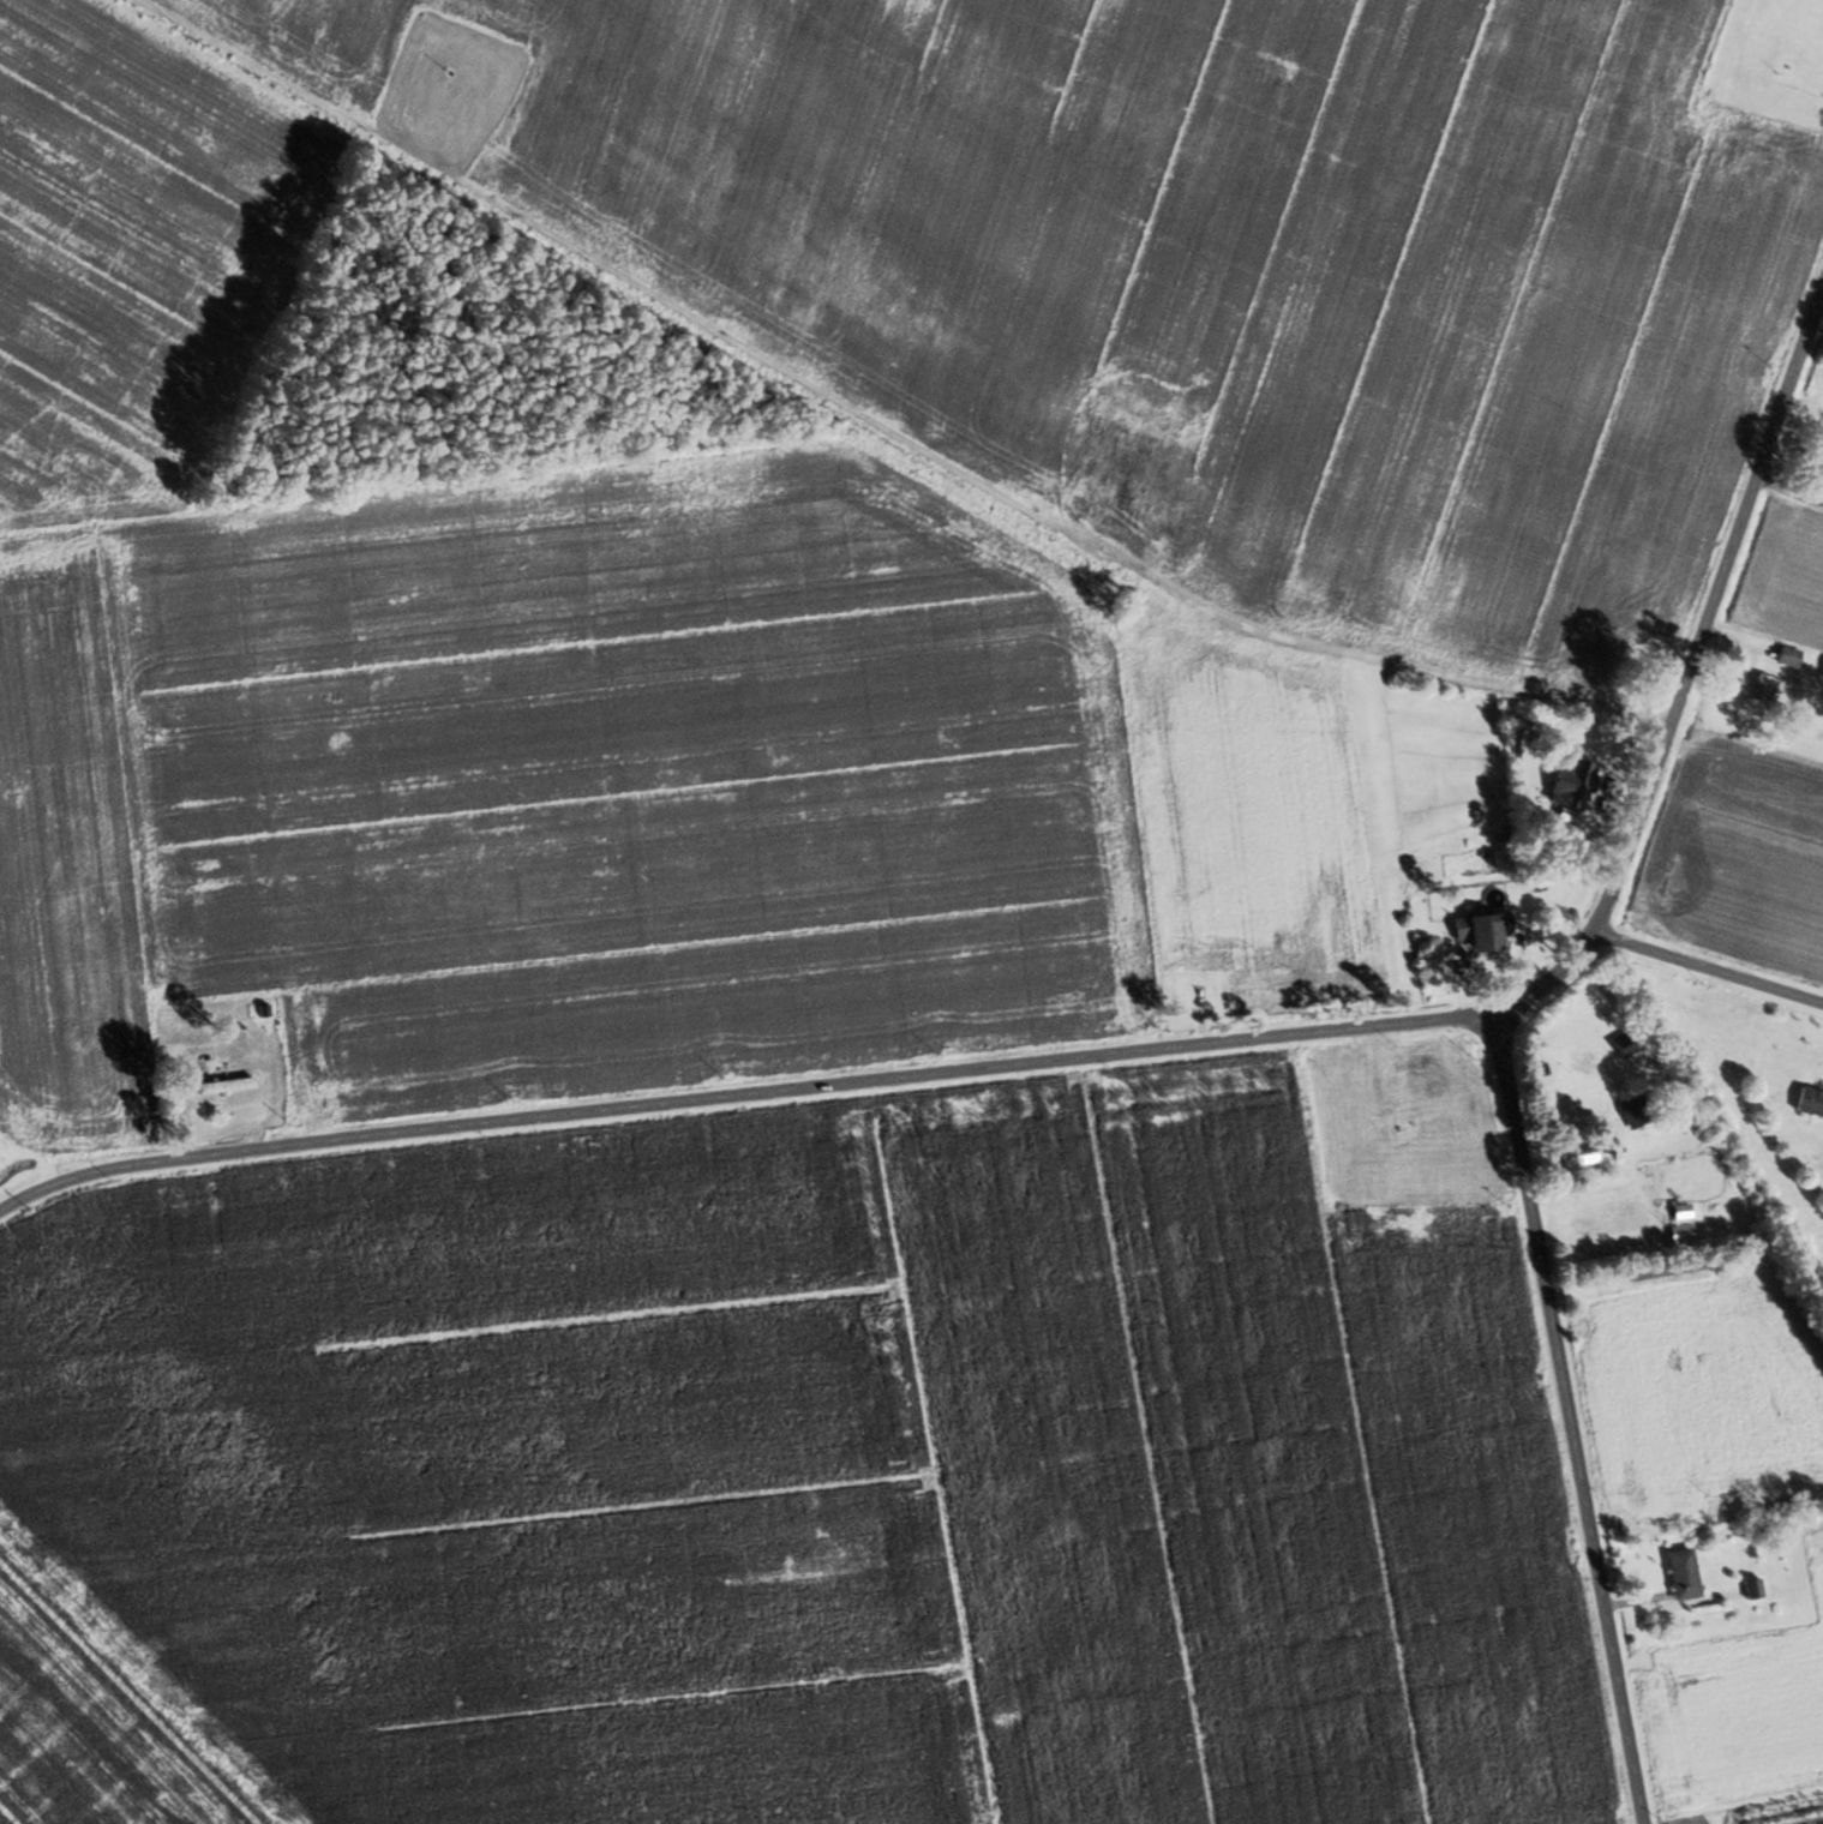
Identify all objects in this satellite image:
building: (1821, 473)
building: (1783, 656)
building: (1821, 672)
road: (1464, 684)
building: (1761, 688)
building: (1571, 786)
building: (1549, 830)
building: (1474, 930)
road: (1709, 971)
road: (1143, 1055)
building: (227, 1086)
building: (1806, 1102)
building: (1633, 1109)
building: (1576, 1157)
building: (1675, 1212)
building: (1675, 1234)
road: (1567, 1420)
building: (1677, 1574)
building: (1749, 1589)
road: (1667, 1602)

